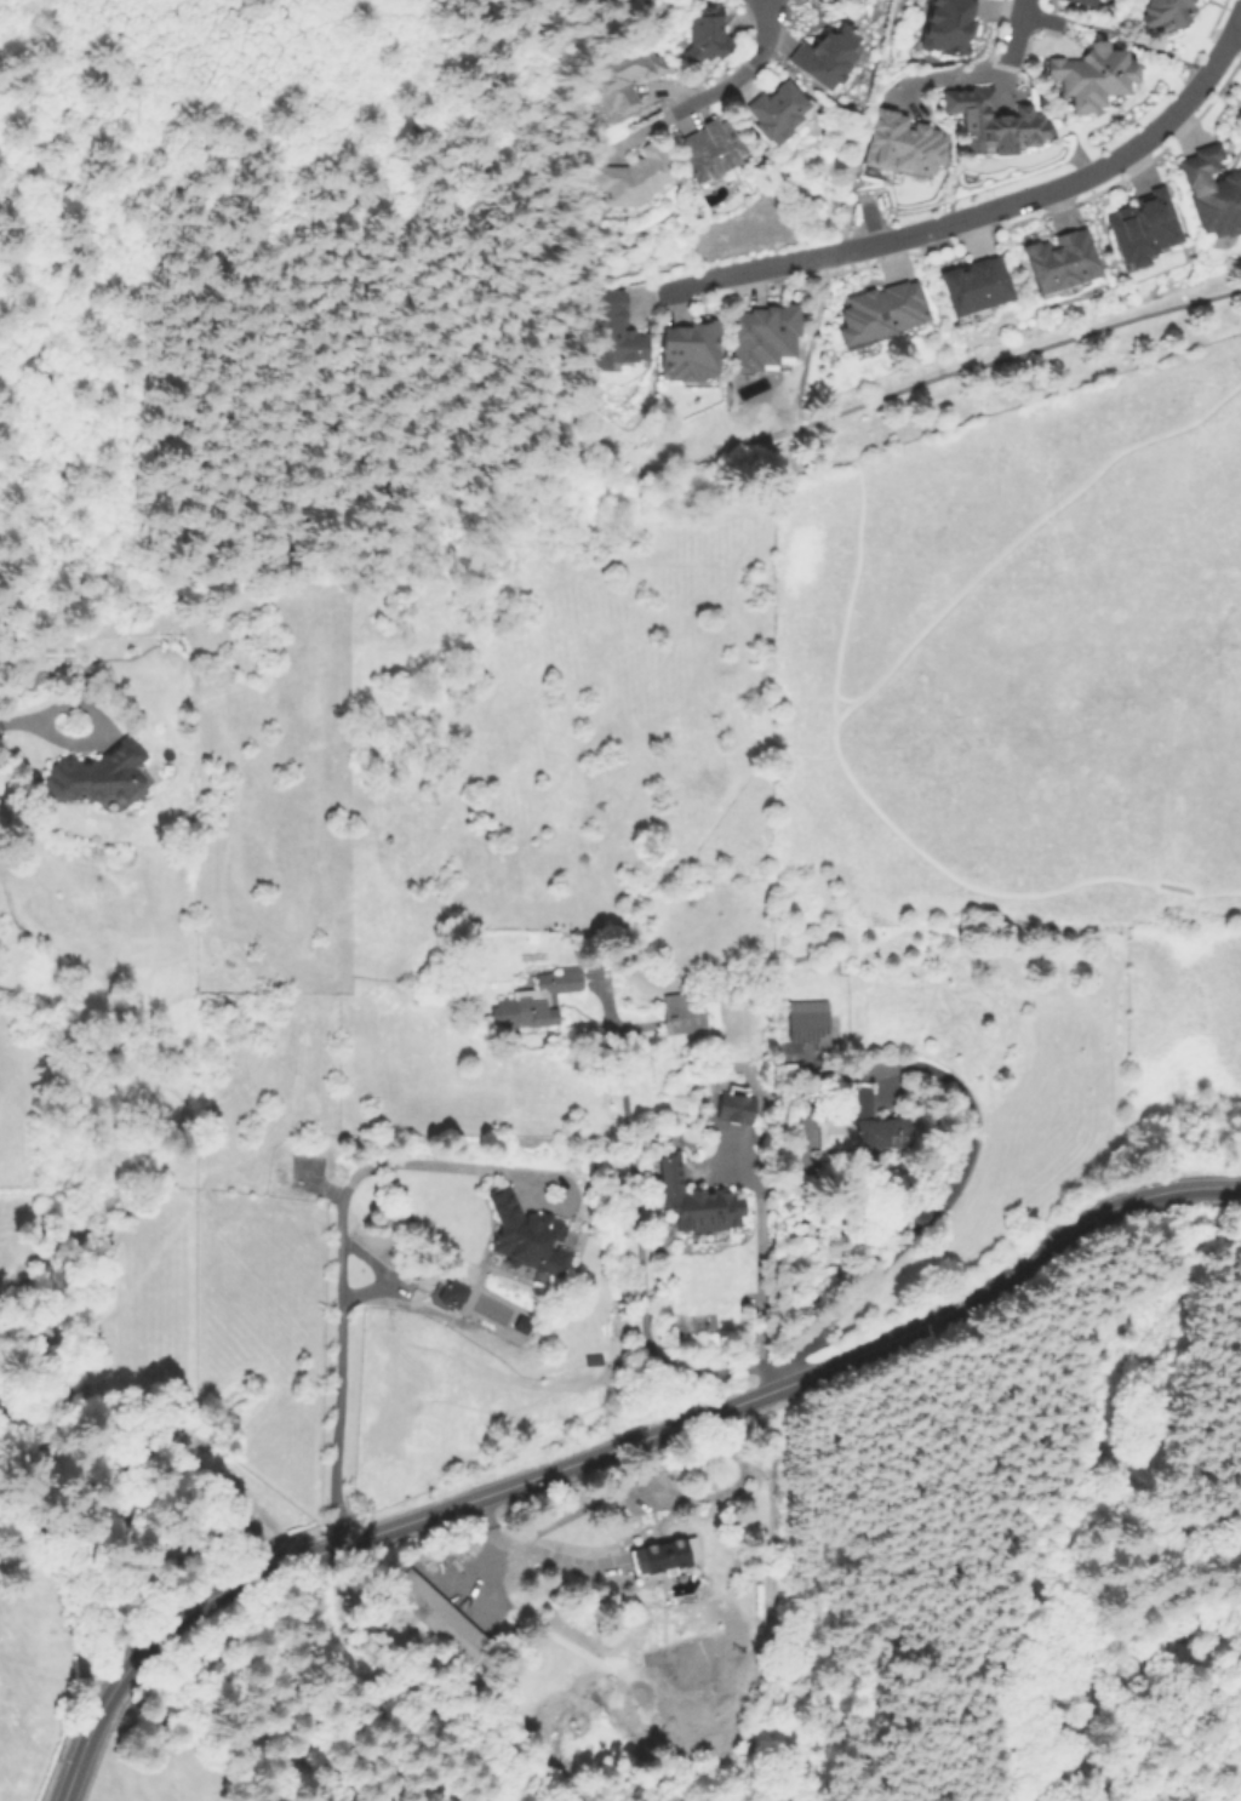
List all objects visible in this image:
building: (587, 0)
building: (597, 1)
building: (1087, 4)
building: (1169, 16)
road: (1037, 18)
road: (1059, 21)
road: (1239, 23)
road: (1233, 27)
building: (949, 28)
road: (1012, 30)
building: (709, 32)
road: (765, 33)
road: (13, 45)
road: (1146, 46)
building: (825, 57)
building: (629, 68)
road: (944, 75)
building: (1094, 84)
building: (777, 109)
road: (673, 110)
building: (994, 127)
road: (170, 143)
building: (711, 149)
building: (904, 150)
building: (635, 178)
building: (1213, 200)
road: (968, 215)
building: (1143, 236)
road: (39, 252)
building: (1062, 269)
park: (285, 278)
building: (977, 295)
building: (879, 308)
building: (617, 327)
building: (766, 330)
road: (810, 330)
building: (692, 347)
road: (922, 381)
road: (191, 411)
road: (796, 417)
road: (294, 488)
road: (38, 541)
road: (842, 707)
road: (35, 725)
building: (97, 776)
building: (780, 988)
building: (538, 1002)
building: (688, 1014)
building: (810, 1024)
building: (680, 1086)
building: (737, 1109)
building: (860, 1126)
building: (307, 1167)
building: (699, 1200)
building: (787, 1205)
road: (936, 1211)
building: (527, 1235)
road: (639, 1242)
road: (339, 1265)
road: (757, 1288)
building: (453, 1294)
road: (611, 1448)
road: (590, 1502)
road: (548, 1556)
building: (664, 1556)
road: (485, 1567)
building: (439, 1617)

